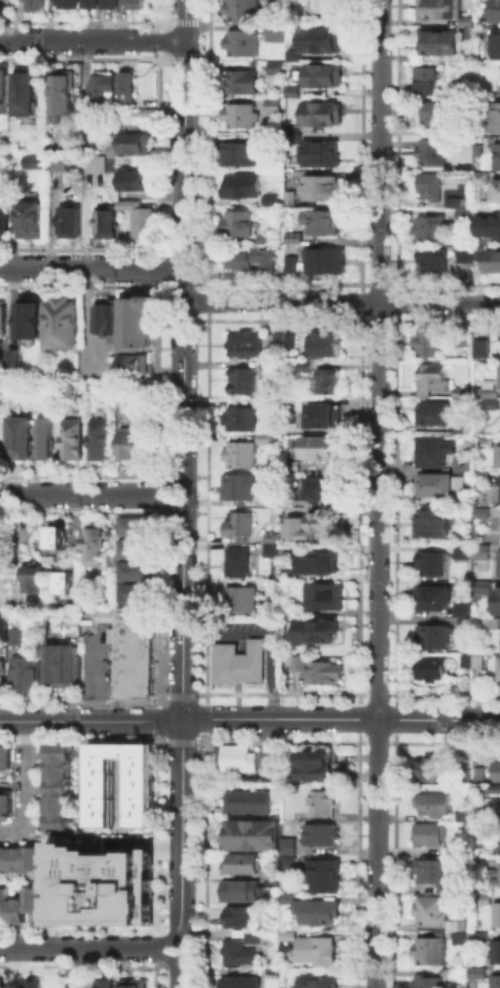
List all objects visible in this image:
building: (71, 3)
building: (94, 4)
building: (114, 4)
building: (138, 4)
building: (1, 5)
building: (38, 5)
building: (328, 9)
building: (439, 9)
building: (495, 10)
building: (244, 11)
road: (185, 20)
building: (467, 21)
building: (278, 35)
building: (319, 37)
building: (442, 39)
road: (92, 41)
building: (496, 42)
building: (244, 44)
building: (407, 54)
building: (278, 69)
building: (327, 77)
building: (424, 79)
building: (244, 83)
building: (105, 87)
building: (5, 88)
building: (291, 88)
building: (130, 90)
building: (67, 93)
building: (29, 94)
building: (489, 94)
building: (276, 107)
building: (433, 111)
building: (151, 114)
building: (242, 115)
building: (324, 115)
building: (494, 115)
building: (480, 137)
building: (263, 140)
building: (294, 140)
building: (138, 144)
building: (430, 149)
building: (321, 154)
building: (497, 154)
building: (243, 156)
building: (36, 163)
building: (61, 163)
building: (97, 166)
building: (482, 176)
building: (140, 182)
building: (431, 183)
building: (244, 187)
building: (323, 189)
building: (497, 189)
building: (292, 196)
building: (455, 200)
building: (273, 201)
building: (131, 204)
building: (464, 212)
building: (34, 220)
building: (5, 222)
building: (323, 223)
building: (72, 224)
building: (144, 224)
building: (488, 224)
building: (108, 225)
building: (238, 226)
building: (430, 227)
building: (299, 240)
building: (477, 251)
building: (464, 253)
building: (432, 258)
building: (493, 259)
building: (253, 260)
road: (184, 262)
building: (329, 262)
building: (294, 265)
road: (91, 267)
road: (342, 303)
building: (33, 314)
building: (4, 319)
building: (109, 322)
building: (137, 322)
building: (67, 325)
building: (499, 338)
building: (284, 339)
building: (430, 343)
building: (247, 346)
building: (328, 346)
building: (484, 351)
building: (15, 357)
building: (140, 365)
building: (267, 365)
building: (306, 367)
building: (499, 368)
building: (433, 379)
building: (331, 382)
building: (245, 383)
building: (464, 394)
building: (132, 396)
building: (492, 397)
building: (271, 404)
building: (438, 413)
building: (327, 417)
building: (242, 421)
building: (464, 426)
building: (269, 439)
building: (1, 440)
building: (24, 440)
building: (50, 440)
building: (77, 441)
building: (103, 441)
building: (487, 443)
building: (133, 444)
building: (323, 448)
building: (434, 452)
building: (242, 456)
building: (499, 459)
building: (467, 465)
building: (295, 467)
building: (483, 478)
road: (179, 484)
building: (442, 487)
building: (241, 489)
building: (499, 489)
building: (324, 491)
road: (84, 493)
road: (378, 494)
building: (278, 503)
building: (484, 515)
building: (324, 523)
building: (137, 525)
building: (434, 525)
building: (298, 529)
building: (243, 530)
building: (55, 536)
building: (96, 544)
building: (276, 546)
building: (139, 549)
building: (465, 553)
building: (484, 553)
building: (498, 562)
building: (240, 564)
building: (435, 566)
building: (318, 567)
building: (138, 571)
building: (35, 581)
building: (64, 581)
building: (484, 586)
building: (137, 594)
building: (327, 598)
building: (435, 600)
building: (496, 600)
building: (243, 602)
building: (295, 611)
building: (467, 613)
building: (273, 615)
building: (493, 622)
building: (468, 624)
road: (268, 633)
building: (320, 633)
building: (18, 638)
building: (437, 638)
building: (135, 656)
building: (479, 660)
building: (298, 662)
building: (469, 662)
building: (243, 664)
building: (64, 667)
building: (499, 668)
building: (434, 670)
building: (323, 671)
building: (29, 676)
building: (2, 677)
road: (249, 718)
road: (182, 721)
building: (59, 754)
building: (6, 761)
building: (240, 763)
building: (316, 767)
building: (431, 770)
building: (498, 771)
building: (59, 772)
building: (481, 774)
building: (468, 778)
road: (26, 785)
building: (59, 789)
building: (102, 795)
building: (436, 804)
building: (7, 805)
building: (59, 805)
building: (250, 805)
building: (325, 806)
building: (467, 819)
building: (59, 824)
building: (431, 837)
building: (256, 839)
building: (324, 839)
building: (3, 861)
building: (15, 863)
building: (32, 863)
building: (244, 868)
building: (436, 872)
building: (495, 876)
building: (326, 878)
building: (100, 886)
building: (248, 895)
building: (3, 904)
building: (32, 904)
building: (435, 912)
building: (321, 915)
building: (15, 916)
building: (499, 917)
building: (245, 921)
building: (460, 925)
building: (292, 936)
road: (178, 937)
building: (256, 938)
building: (472, 938)
road: (83, 947)
building: (496, 950)
building: (435, 952)
building: (319, 953)
building: (241, 955)
road: (180, 974)
building: (482, 975)
building: (434, 982)
building: (320, 983)
building: (499, 983)
building: (242, 984)
building: (135, 985)
building: (105, 986)
building: (3, 987)
building: (34, 987)

